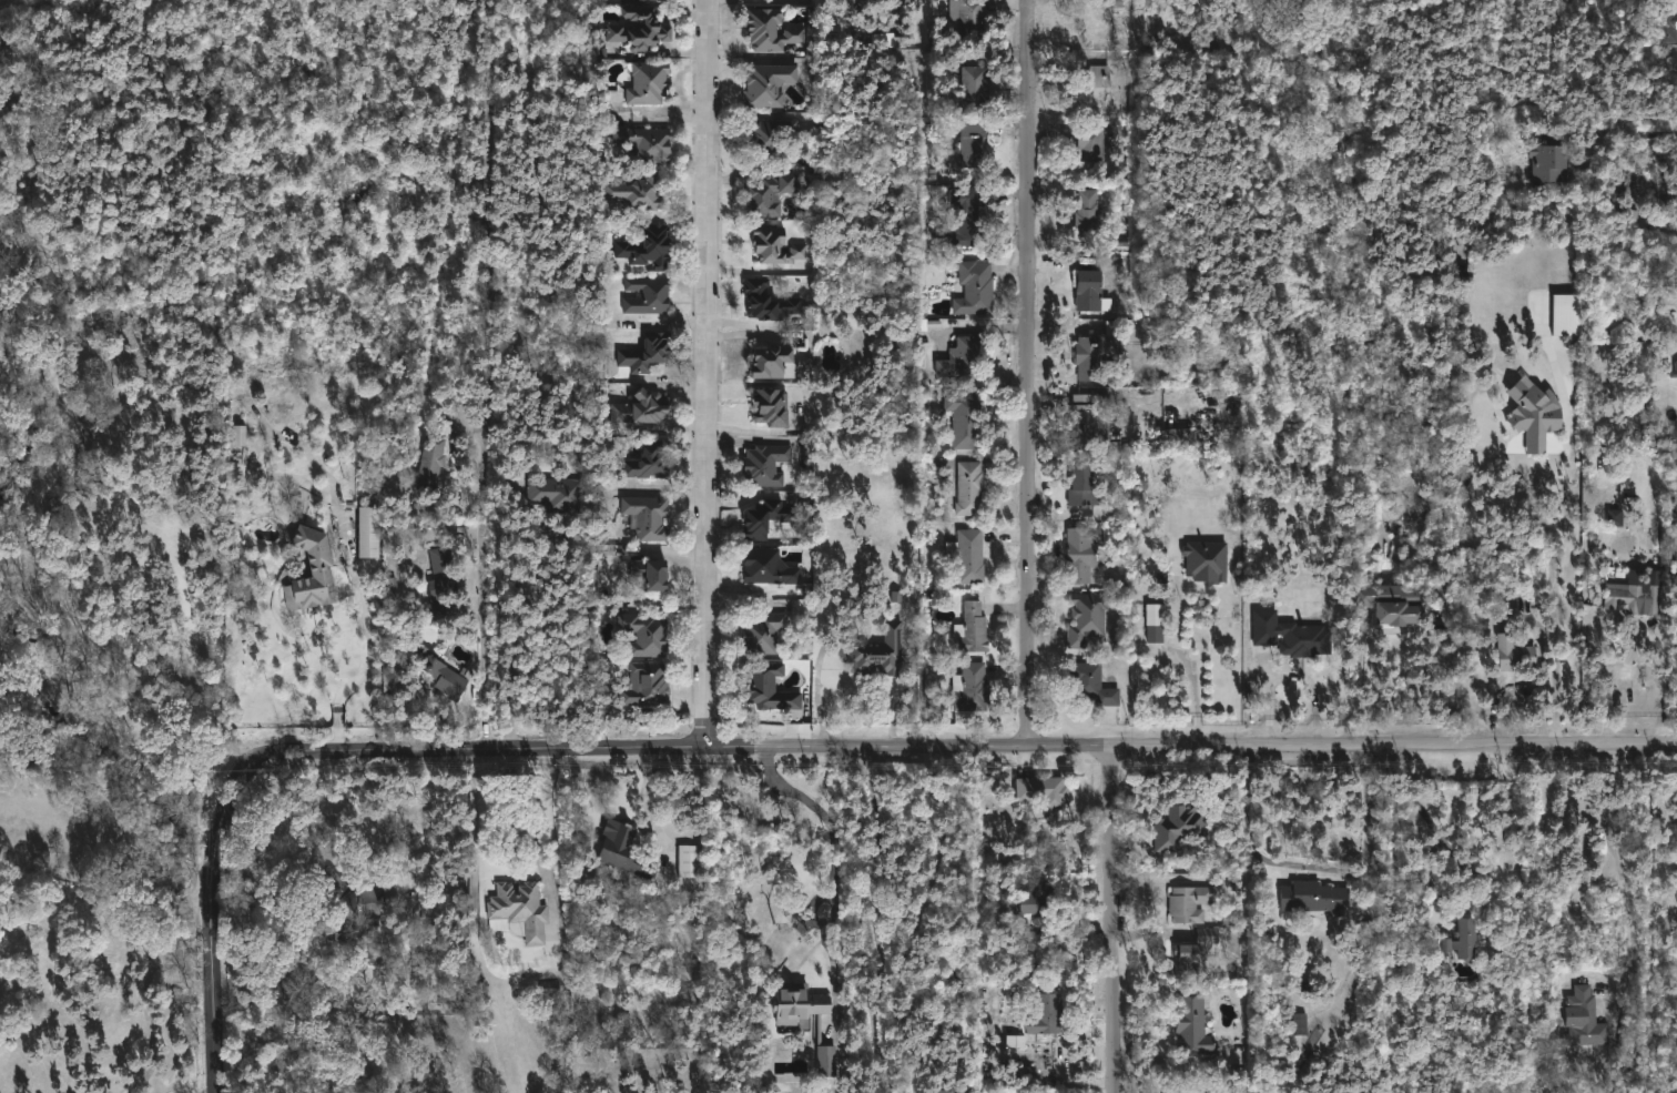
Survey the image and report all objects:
building: (663, 0)
building: (970, 17)
building: (1668, 23)
building: (640, 29)
building: (771, 29)
building: (888, 40)
building: (1097, 81)
building: (649, 82)
building: (769, 84)
building: (977, 91)
building: (11, 112)
road: (1637, 132)
building: (774, 141)
building: (646, 142)
building: (1094, 142)
building: (975, 146)
building: (1556, 162)
building: (640, 192)
building: (770, 193)
building: (1090, 209)
building: (970, 213)
building: (776, 245)
building: (649, 247)
building: (976, 287)
building: (1092, 292)
building: (649, 295)
building: (770, 302)
building: (1566, 315)
building: (1095, 353)
building: (648, 354)
building: (962, 358)
building: (774, 364)
building: (1674, 370)
road: (707, 373)
road: (496, 374)
road: (1031, 374)
building: (772, 407)
building: (642, 408)
building: (1538, 418)
building: (965, 419)
building: (1088, 424)
building: (238, 435)
building: (1178, 438)
building: (433, 461)
building: (652, 462)
building: (766, 465)
building: (1085, 486)
building: (970, 488)
building: (558, 494)
building: (1615, 517)
building: (649, 518)
building: (768, 518)
building: (1676, 519)
building: (369, 533)
building: (1084, 553)
building: (969, 555)
building: (1208, 560)
building: (769, 567)
building: (313, 571)
building: (444, 574)
building: (652, 574)
building: (1637, 599)
road: (1554, 603)
building: (1397, 604)
building: (1088, 617)
building: (1157, 623)
building: (975, 629)
road: (369, 630)
road: (1400, 631)
building: (764, 632)
building: (648, 635)
building: (1292, 636)
building: (881, 652)
building: (1518, 652)
building: (1676, 655)
road: (1172, 656)
building: (446, 677)
road: (1620, 684)
building: (1094, 685)
road: (1520, 686)
building: (770, 687)
building: (972, 687)
building: (649, 688)
road: (857, 747)
building: (1044, 792)
road: (649, 801)
road: (1426, 814)
building: (1178, 826)
road: (837, 832)
road: (535, 836)
building: (627, 851)
building: (689, 861)
road: (1314, 866)
road: (1619, 866)
road: (99, 882)
building: (1676, 889)
building: (1041, 898)
building: (1317, 898)
building: (1190, 903)
building: (348, 904)
building: (520, 910)
road: (1117, 920)
road: (880, 921)
road: (196, 933)
building: (1470, 938)
building: (1189, 955)
building: (550, 986)
building: (454, 988)
road: (150, 1006)
road: (205, 1011)
building: (1048, 1014)
building: (806, 1016)
building: (1588, 1019)
building: (1300, 1024)
building: (1193, 1025)
road: (264, 1040)
building: (953, 1086)

